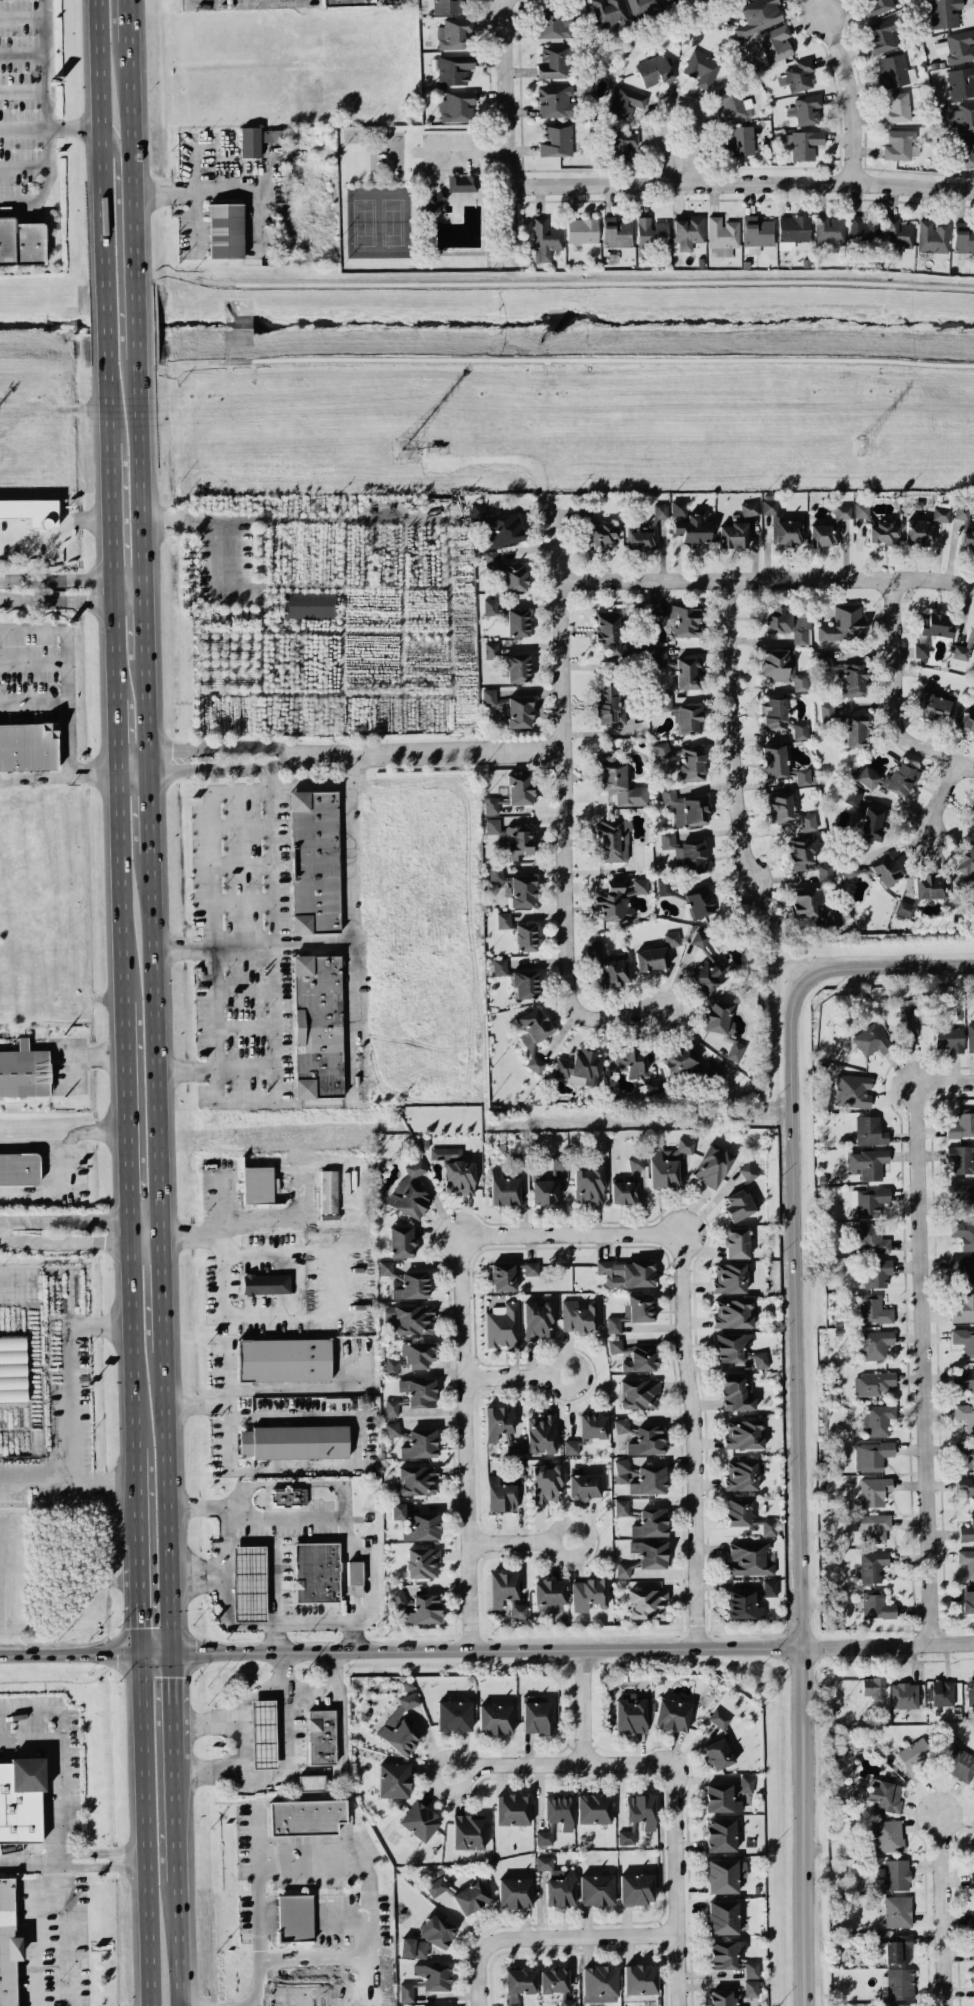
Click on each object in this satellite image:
road: (225, 0)
road: (304, 0)
building: (665, 0)
road: (193, 1)
road: (263, 1)
building: (346, 2)
building: (447, 6)
building: (644, 7)
building: (875, 7)
building: (608, 11)
building: (944, 12)
building: (758, 15)
road: (23, 17)
road: (127, 20)
building: (552, 21)
building: (453, 33)
building: (880, 36)
building: (773, 44)
building: (957, 46)
road: (24, 53)
building: (552, 62)
building: (453, 68)
building: (701, 68)
building: (654, 70)
building: (894, 71)
building: (797, 76)
building: (961, 82)
road: (24, 90)
road: (850, 95)
building: (554, 100)
building: (622, 102)
road: (681, 103)
building: (455, 104)
building: (731, 104)
building: (897, 107)
building: (806, 109)
road: (129, 118)
building: (963, 118)
road: (49, 122)
road: (50, 127)
road: (506, 135)
building: (259, 139)
building: (556, 140)
road: (100, 141)
building: (740, 141)
building: (805, 144)
building: (899, 144)
building: (621, 145)
building: (966, 151)
road: (117, 158)
road: (25, 165)
road: (226, 171)
building: (461, 182)
road: (741, 182)
road: (219, 193)
building: (434, 200)
road: (195, 201)
building: (582, 229)
building: (828, 229)
building: (863, 229)
building: (224, 230)
building: (792, 230)
building: (687, 231)
building: (757, 231)
building: (616, 232)
building: (651, 232)
building: (722, 235)
building: (897, 235)
building: (932, 237)
building: (963, 237)
road: (133, 238)
building: (545, 239)
building: (20, 242)
road: (135, 319)
road: (106, 329)
river: (487, 330)
road: (109, 408)
power tower: (870, 447)
power tower: (413, 449)
road: (140, 473)
building: (678, 507)
building: (749, 508)
building: (861, 509)
building: (31, 511)
building: (660, 511)
building: (961, 511)
building: (841, 512)
building: (476, 513)
building: (941, 514)
road: (112, 521)
building: (782, 524)
building: (693, 527)
building: (505, 529)
building: (596, 530)
road: (216, 532)
building: (882, 532)
building: (917, 532)
building: (823, 534)
building: (733, 535)
road: (58, 536)
building: (642, 537)
building: (967, 537)
building: (491, 560)
building: (515, 576)
road: (72, 579)
road: (766, 579)
road: (129, 595)
road: (57, 601)
building: (309, 605)
building: (490, 606)
building: (684, 620)
building: (517, 622)
building: (786, 622)
road: (145, 623)
building: (843, 623)
road: (69, 630)
building: (609, 630)
building: (931, 631)
building: (971, 636)
building: (491, 648)
road: (115, 649)
building: (960, 652)
building: (660, 658)
road: (35, 662)
building: (825, 662)
building: (516, 667)
building: (782, 667)
building: (687, 673)
building: (851, 679)
road: (895, 699)
road: (147, 702)
building: (934, 703)
building: (609, 705)
building: (518, 711)
building: (774, 713)
building: (681, 714)
building: (966, 719)
road: (70, 721)
building: (377, 721)
road: (734, 728)
building: (800, 730)
building: (855, 730)
road: (117, 731)
building: (27, 746)
road: (237, 746)
road: (444, 754)
road: (133, 757)
road: (149, 758)
building: (774, 761)
building: (691, 763)
road: (133, 767)
road: (237, 767)
road: (357, 771)
building: (803, 776)
building: (866, 777)
building: (901, 777)
road: (41, 779)
building: (618, 781)
building: (519, 788)
road: (940, 795)
building: (852, 796)
building: (491, 805)
road: (568, 807)
building: (685, 808)
building: (788, 810)
road: (150, 811)
building: (971, 814)
building: (871, 823)
road: (214, 829)
building: (511, 838)
building: (613, 839)
building: (685, 852)
building: (806, 858)
building: (966, 860)
building: (313, 861)
building: (853, 869)
building: (885, 869)
building: (495, 873)
road: (121, 883)
building: (664, 887)
building: (521, 890)
building: (972, 892)
road: (349, 895)
building: (618, 901)
building: (699, 902)
building: (813, 905)
building: (503, 919)
building: (525, 936)
building: (671, 938)
building: (698, 939)
road: (312, 946)
road: (246, 947)
road: (274, 957)
building: (651, 958)
building: (607, 965)
building: (499, 966)
building: (709, 975)
building: (524, 983)
road: (219, 1008)
building: (910, 1020)
building: (316, 1026)
building: (970, 1037)
building: (949, 1038)
building: (871, 1040)
road: (156, 1041)
road: (87, 1055)
building: (679, 1057)
building: (630, 1061)
building: (579, 1067)
building: (24, 1070)
road: (946, 1084)
building: (653, 1085)
building: (852, 1090)
road: (127, 1121)
building: (962, 1124)
building: (869, 1131)
road: (29, 1145)
building: (445, 1152)
road: (54, 1157)
building: (960, 1158)
building: (667, 1162)
building: (868, 1163)
building: (712, 1165)
building: (19, 1168)
building: (747, 1171)
building: (458, 1176)
building: (547, 1183)
building: (588, 1184)
building: (256, 1185)
building: (503, 1188)
building: (328, 1191)
building: (409, 1191)
building: (625, 1191)
road: (221, 1196)
building: (964, 1197)
building: (868, 1201)
building: (739, 1204)
road: (279, 1216)
road: (81, 1220)
building: (963, 1234)
road: (146, 1235)
road: (571, 1235)
building: (869, 1238)
building: (401, 1240)
road: (65, 1242)
building: (735, 1242)
building: (385, 1267)
building: (531, 1268)
building: (963, 1269)
building: (626, 1272)
building: (876, 1272)
building: (502, 1276)
building: (729, 1278)
building: (396, 1279)
building: (265, 1282)
building: (412, 1285)
road: (162, 1290)
building: (964, 1308)
building: (873, 1309)
building: (632, 1311)
building: (732, 1313)
road: (255, 1315)
building: (578, 1317)
building: (408, 1318)
building: (537, 1319)
building: (502, 1325)
building: (964, 1340)
road: (133, 1343)
building: (874, 1343)
building: (615, 1345)
building: (730, 1346)
building: (411, 1356)
building: (283, 1358)
building: (640, 1358)
building: (759, 1359)
road: (926, 1364)
building: (12, 1367)
road: (71, 1374)
road: (227, 1375)
road: (516, 1377)
building: (964, 1378)
building: (872, 1382)
road: (310, 1386)
building: (418, 1391)
building: (638, 1393)
building: (737, 1394)
building: (391, 1407)
building: (965, 1415)
building: (878, 1419)
building: (498, 1421)
building: (592, 1425)
building: (622, 1425)
building: (392, 1429)
building: (541, 1434)
building: (742, 1434)
building: (292, 1440)
building: (647, 1440)
road: (695, 1440)
building: (419, 1443)
road: (465, 1444)
building: (571, 1446)
building: (515, 1447)
building: (965, 1451)
building: (872, 1454)
road: (326, 1466)
building: (510, 1474)
building: (742, 1474)
building: (640, 1476)
building: (416, 1479)
road: (68, 1480)
building: (547, 1482)
building: (583, 1485)
building: (965, 1486)
building: (873, 1490)
road: (137, 1493)
building: (500, 1495)
building: (288, 1496)
road: (167, 1498)
building: (397, 1510)
road: (333, 1514)
building: (746, 1515)
building: (650, 1522)
building: (871, 1526)
building: (422, 1527)
building: (967, 1529)
road: (310, 1539)
road: (799, 1541)
road: (519, 1542)
road: (227, 1545)
building: (650, 1553)
building: (748, 1558)
road: (272, 1559)
building: (422, 1561)
building: (967, 1561)
building: (872, 1565)
building: (623, 1569)
building: (316, 1571)
building: (355, 1575)
building: (248, 1582)
building: (769, 1587)
building: (506, 1592)
building: (548, 1593)
building: (588, 1593)
road: (140, 1594)
building: (397, 1597)
building: (967, 1601)
building: (646, 1603)
building: (742, 1604)
building: (876, 1604)
building: (423, 1609)
road: (239, 1622)
road: (274, 1635)
road: (887, 1645)
road: (70, 1648)
traffic signals: (141, 1648)
road: (156, 1648)
traffic signals: (171, 1648)
building: (871, 1685)
road: (290, 1687)
building: (970, 1690)
building: (940, 1692)
building: (904, 1695)
road: (172, 1702)
road: (584, 1706)
building: (629, 1714)
building: (671, 1714)
building: (453, 1715)
building: (536, 1716)
road: (235, 1718)
building: (495, 1718)
building: (718, 1718)
building: (400, 1726)
road: (284, 1729)
building: (262, 1733)
building: (320, 1735)
road: (30, 1737)
road: (236, 1746)
parking lot: (49, 1753)
road: (61, 1754)
building: (717, 1754)
building: (914, 1757)
road: (560, 1763)
building: (959, 1763)
road: (315, 1768)
building: (392, 1779)
building: (311, 1782)
building: (746, 1783)
building: (884, 1795)
building: (721, 1798)
building: (19, 1801)
building: (593, 1808)
building: (512, 1809)
building: (558, 1809)
building: (641, 1809)
building: (306, 1815)
road: (176, 1819)
building: (419, 1820)
road: (147, 1826)
road: (803, 1826)
building: (467, 1831)
building: (720, 1834)
building: (886, 1835)
building: (543, 1837)
building: (626, 1837)
road: (104, 1850)
road: (32, 1858)
building: (544, 1862)
road: (105, 1864)
building: (972, 1871)
building: (895, 1874)
building: (721, 1875)
road: (369, 1878)
road: (673, 1884)
building: (436, 1887)
building: (559, 1887)
building: (636, 1888)
building: (596, 1889)
building: (514, 1891)
building: (470, 1896)
road: (258, 1903)
road: (943, 1909)
building: (897, 1910)
building: (294, 1916)
building: (722, 1916)
building: (972, 1917)
road: (36, 1929)
road: (67, 1931)
building: (427, 1937)
road: (580, 1937)
parking lot: (53, 1940)
building: (7, 1943)
building: (973, 1943)
road: (179, 1944)
building: (898, 1948)
building: (724, 1953)
road: (316, 1958)
building: (751, 1968)
building: (973, 1973)
road: (480, 1975)
building: (433, 1976)
building: (553, 1979)
building: (639, 1979)
road: (337, 1982)
building: (599, 1983)
building: (518, 1984)
building: (751, 1988)
building: (406, 1991)
building: (723, 1998)
building: (566, 2001)
building: (901, 2004)

